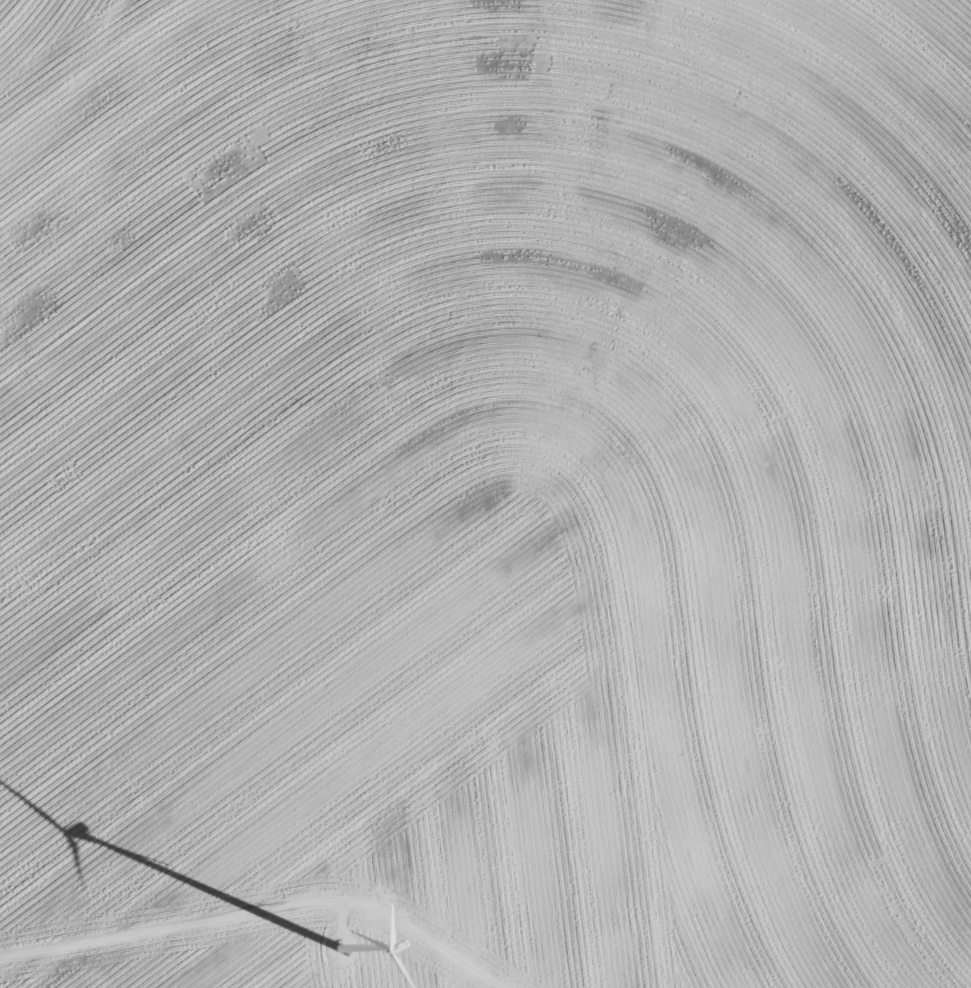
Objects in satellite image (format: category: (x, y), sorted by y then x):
road: (262, 910)
wind turbine: (353, 938)

